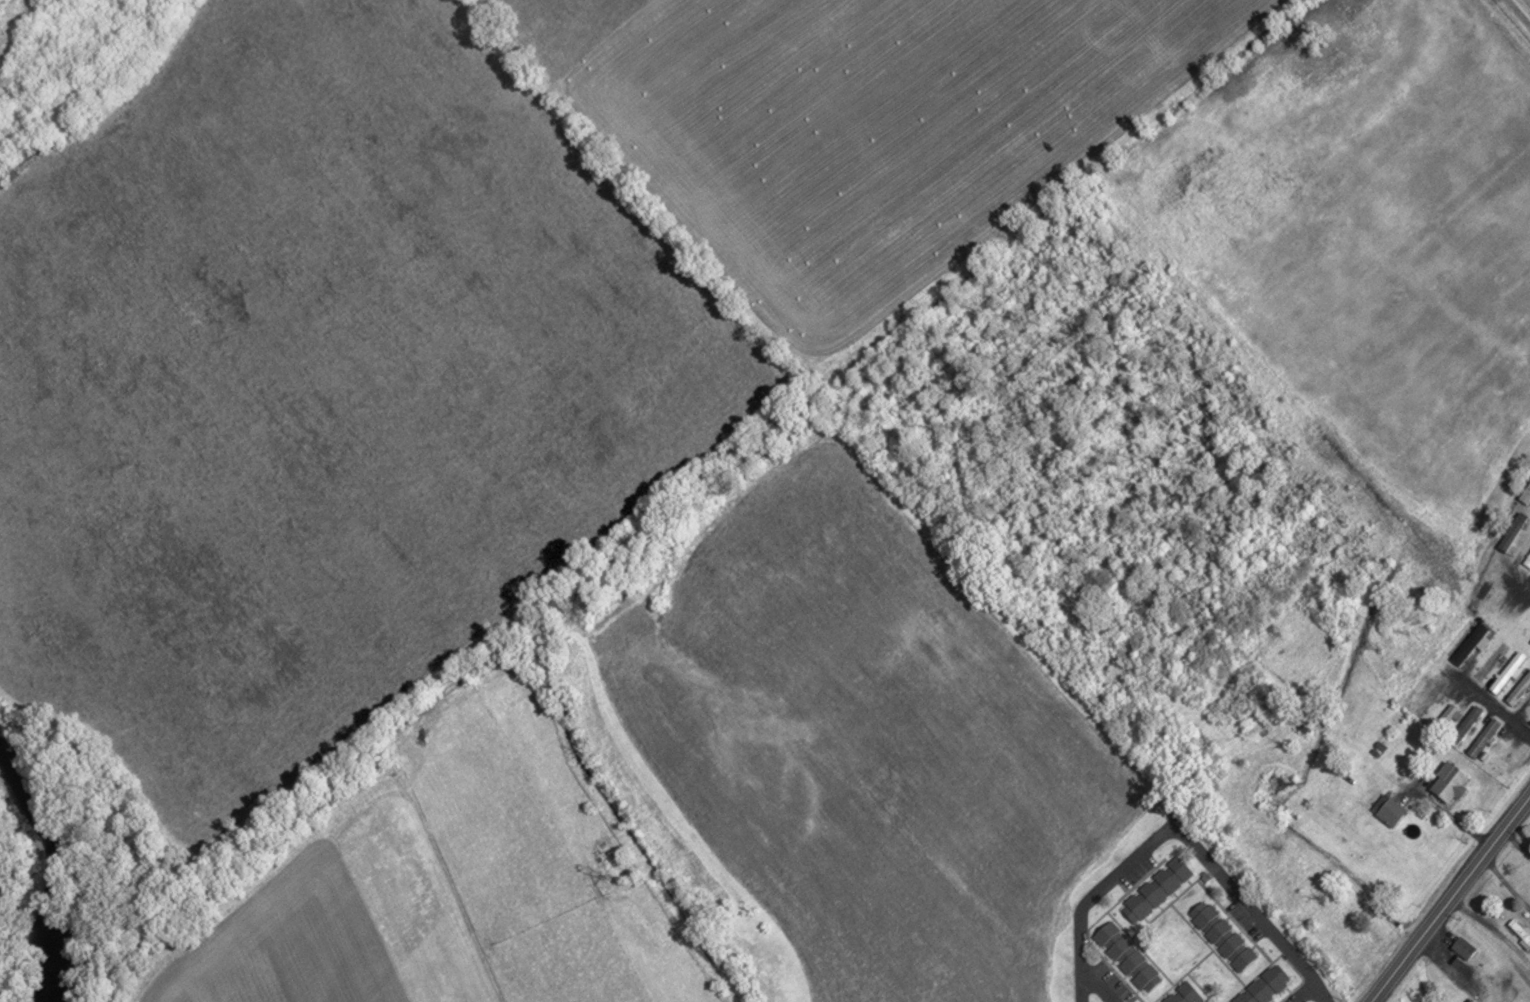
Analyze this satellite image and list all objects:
road: (1519, 12)
building: (1526, 495)
building: (1513, 531)
building: (1527, 560)
building: (1483, 590)
building: (1470, 643)
building: (1490, 658)
building: (1507, 670)
building: (1519, 688)
building: (1428, 697)
building: (1444, 717)
building: (1465, 724)
building: (1483, 736)
building: (1450, 783)
building: (1389, 809)
road: (1180, 832)
river: (49, 872)
building: (1156, 889)
road: (1447, 896)
building: (1520, 931)
building: (1223, 935)
building: (1464, 947)
building: (1129, 957)
building: (1264, 986)
building: (1184, 994)

